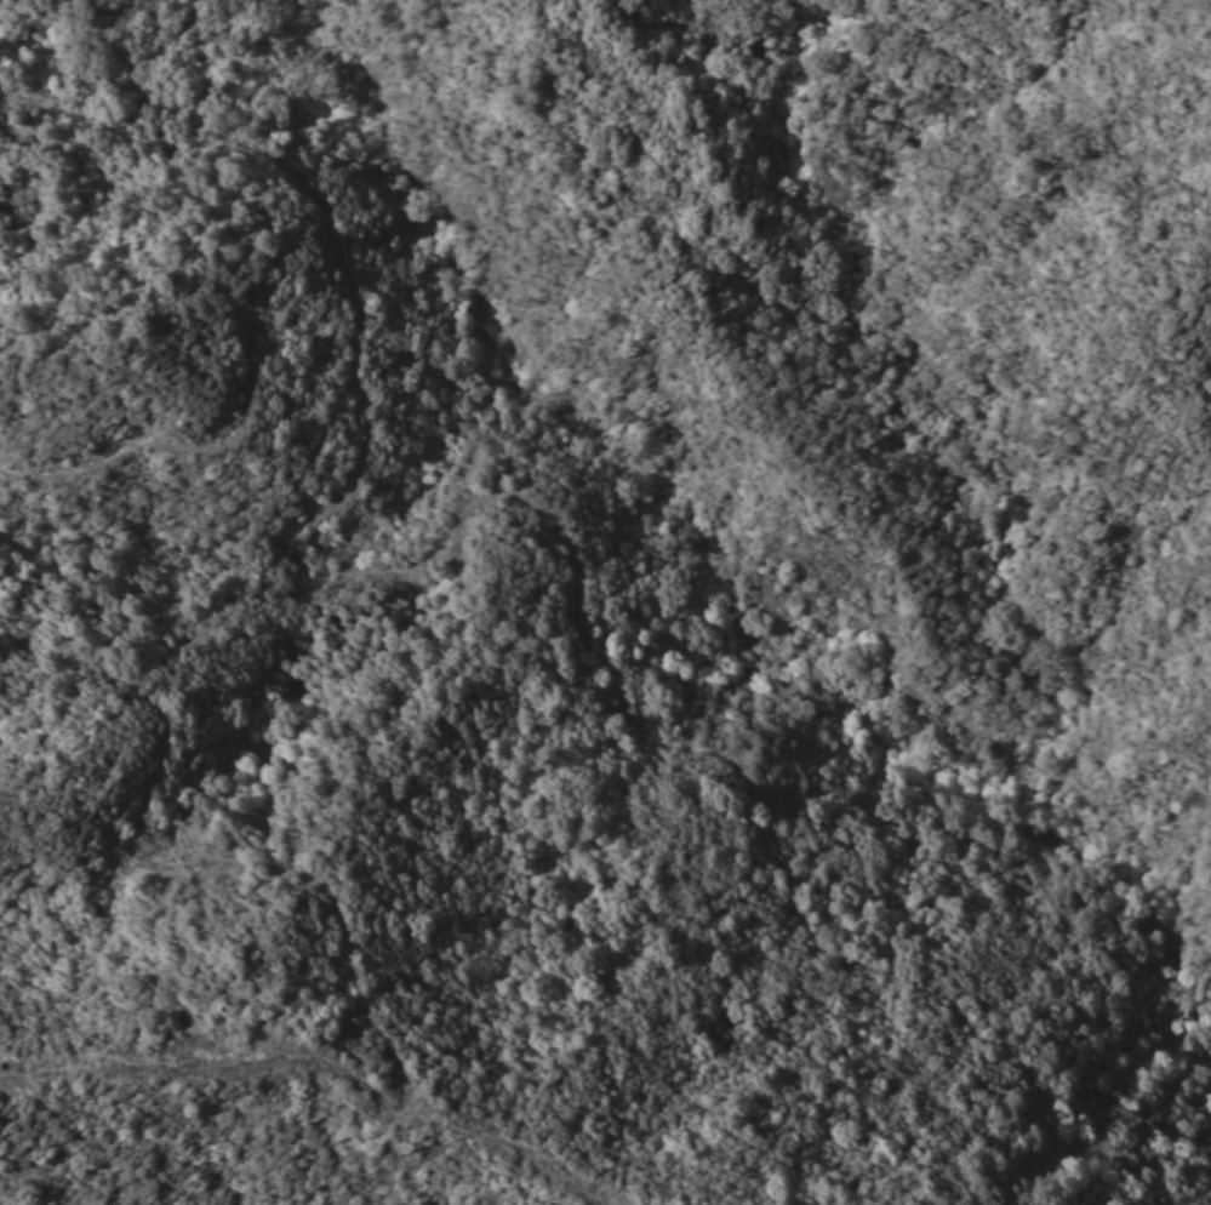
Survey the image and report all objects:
road: (126, 172)
road: (329, 1058)

